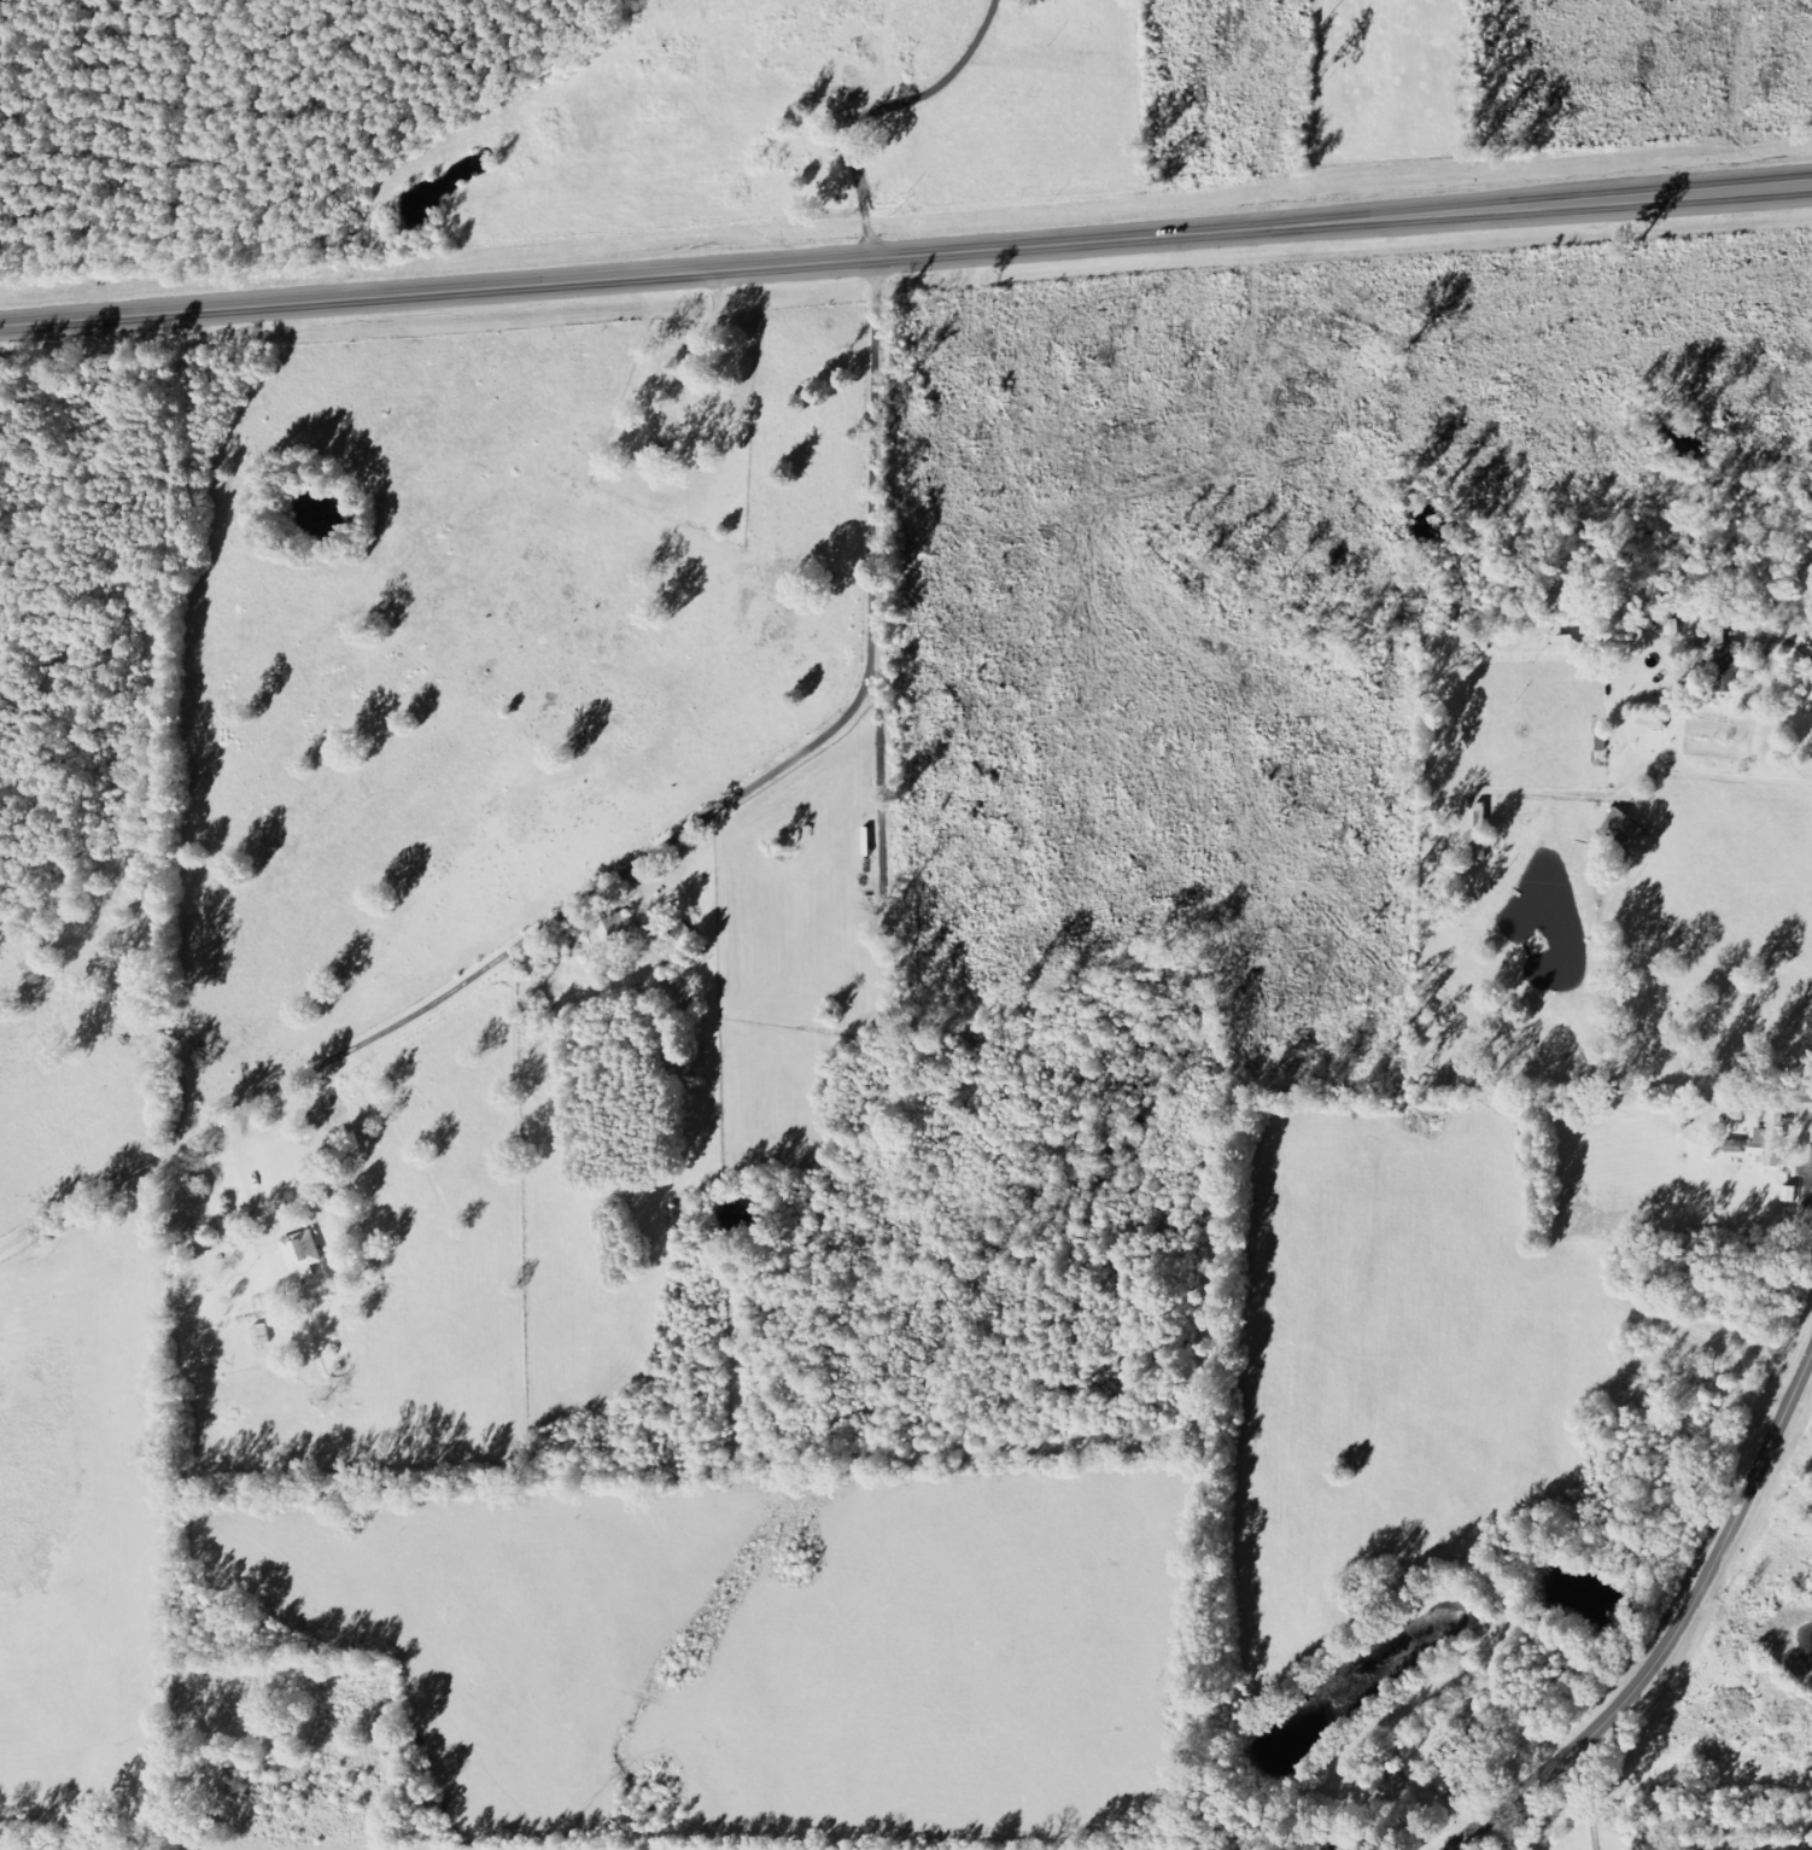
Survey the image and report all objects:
road: (358, 51)
road: (906, 269)
building: (1726, 660)
road: (632, 893)
building: (616, 930)
building: (1775, 1140)
building: (1738, 1148)
building: (305, 1254)
road: (1676, 1629)

